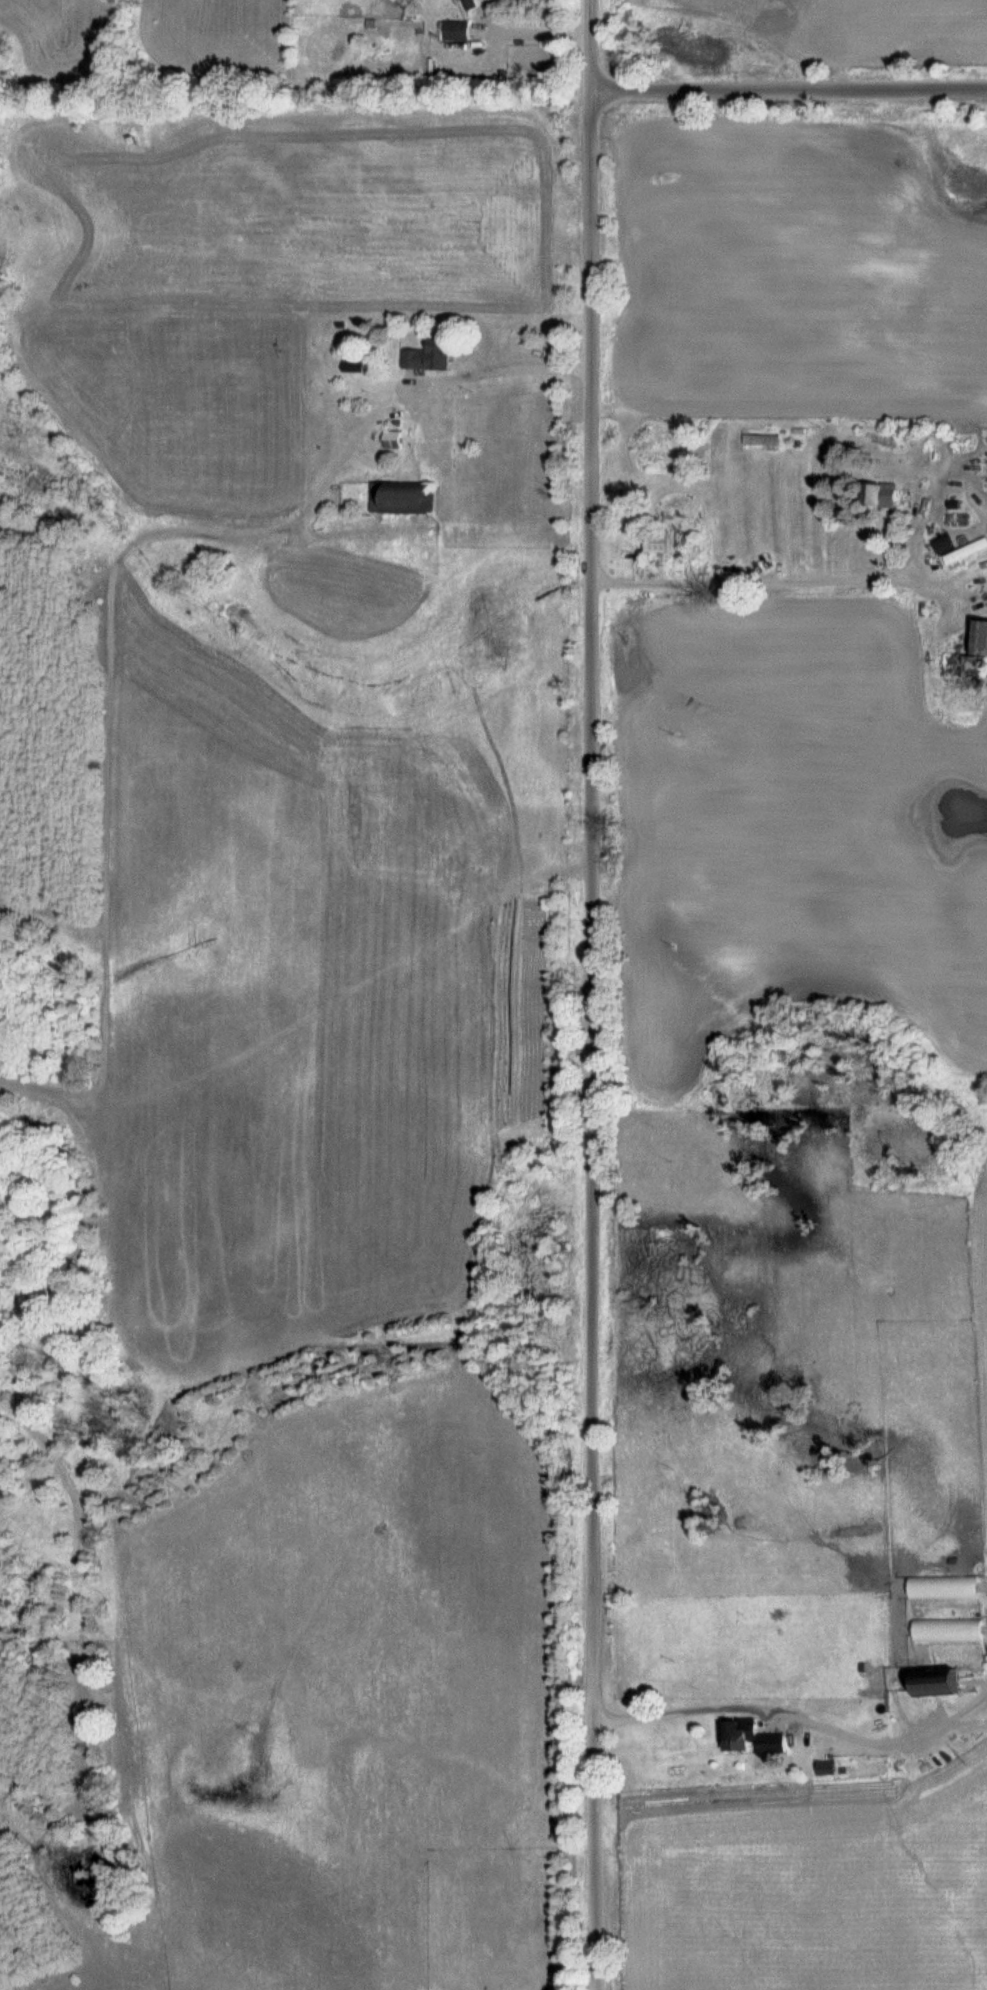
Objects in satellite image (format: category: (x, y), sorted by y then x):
building: (469, 5)
building: (455, 32)
road: (592, 45)
road: (789, 88)
building: (427, 357)
road: (498, 369)
building: (392, 436)
building: (762, 441)
building: (878, 496)
building: (404, 498)
building: (657, 542)
building: (966, 553)
road: (755, 583)
building: (965, 658)
road: (595, 1039)
building: (933, 1683)
road: (693, 1709)
building: (753, 1737)
building: (824, 1768)

